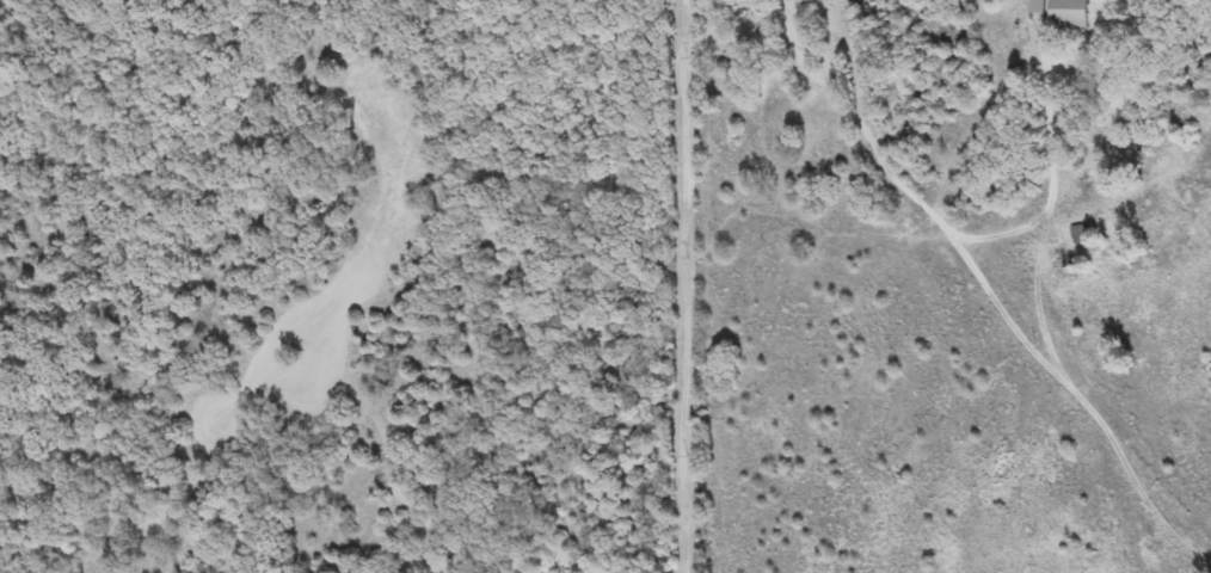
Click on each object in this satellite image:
building: (801, 1)
building: (1038, 6)
building: (1069, 13)

